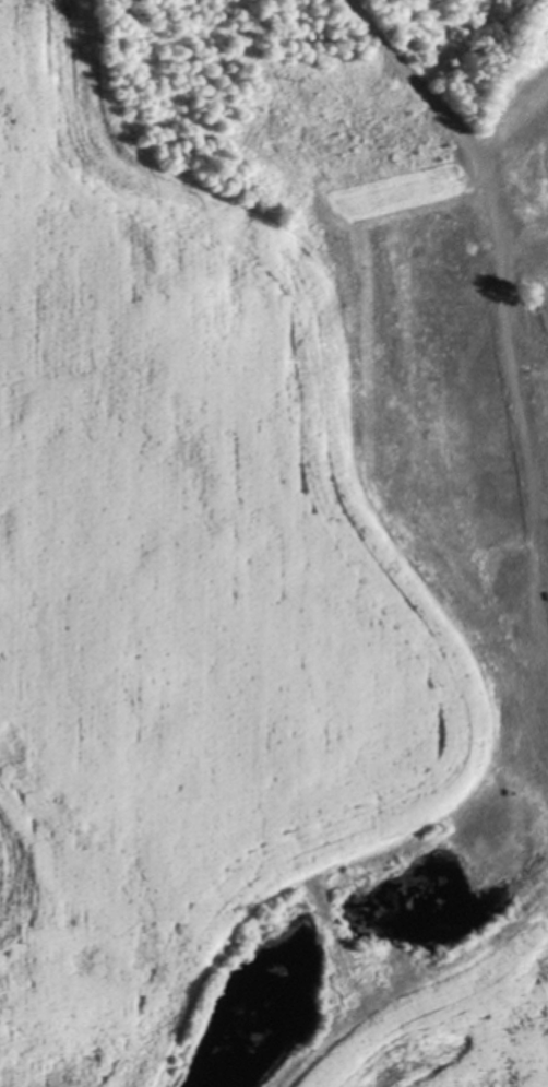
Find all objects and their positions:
road: (499, 245)
quarry: (390, 464)

